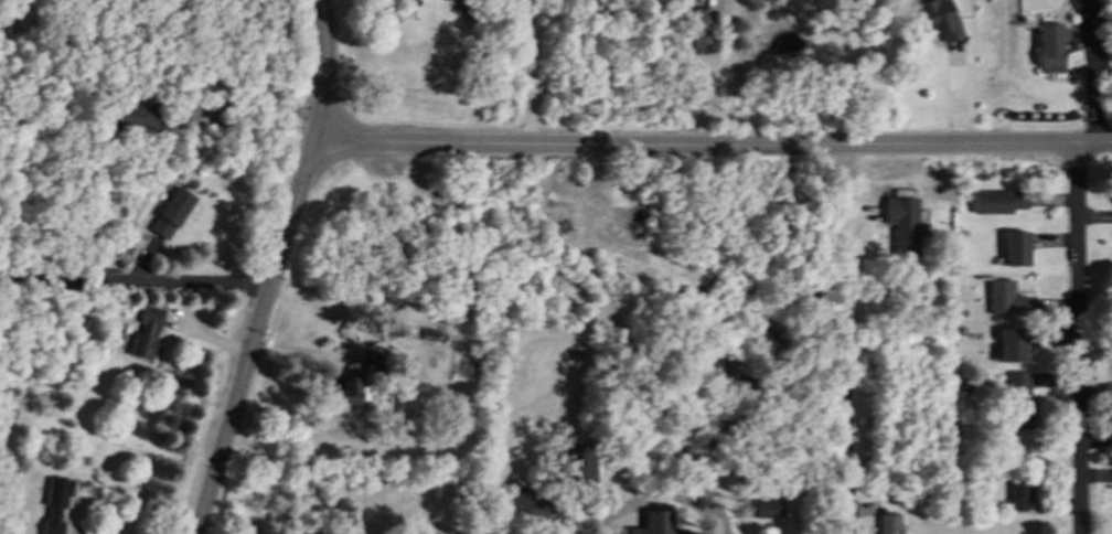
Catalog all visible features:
building: (1077, 0)
building: (932, 14)
building: (704, 31)
building: (1048, 60)
road: (316, 71)
road: (531, 71)
road: (716, 71)
road: (1089, 87)
road: (244, 102)
building: (133, 115)
road: (714, 143)
building: (996, 200)
building: (170, 213)
building: (904, 222)
building: (1015, 246)
road: (136, 279)
building: (1004, 298)
building: (81, 311)
building: (145, 330)
building: (961, 330)
building: (427, 332)
road: (254, 338)
road: (1077, 340)
building: (1009, 344)
building: (577, 354)
building: (372, 357)
road: (846, 375)
building: (350, 391)
building: (1017, 399)
building: (571, 464)
building: (1018, 491)
road: (659, 496)
building: (523, 499)
building: (53, 503)
building: (762, 508)
building: (654, 523)
building: (887, 523)

